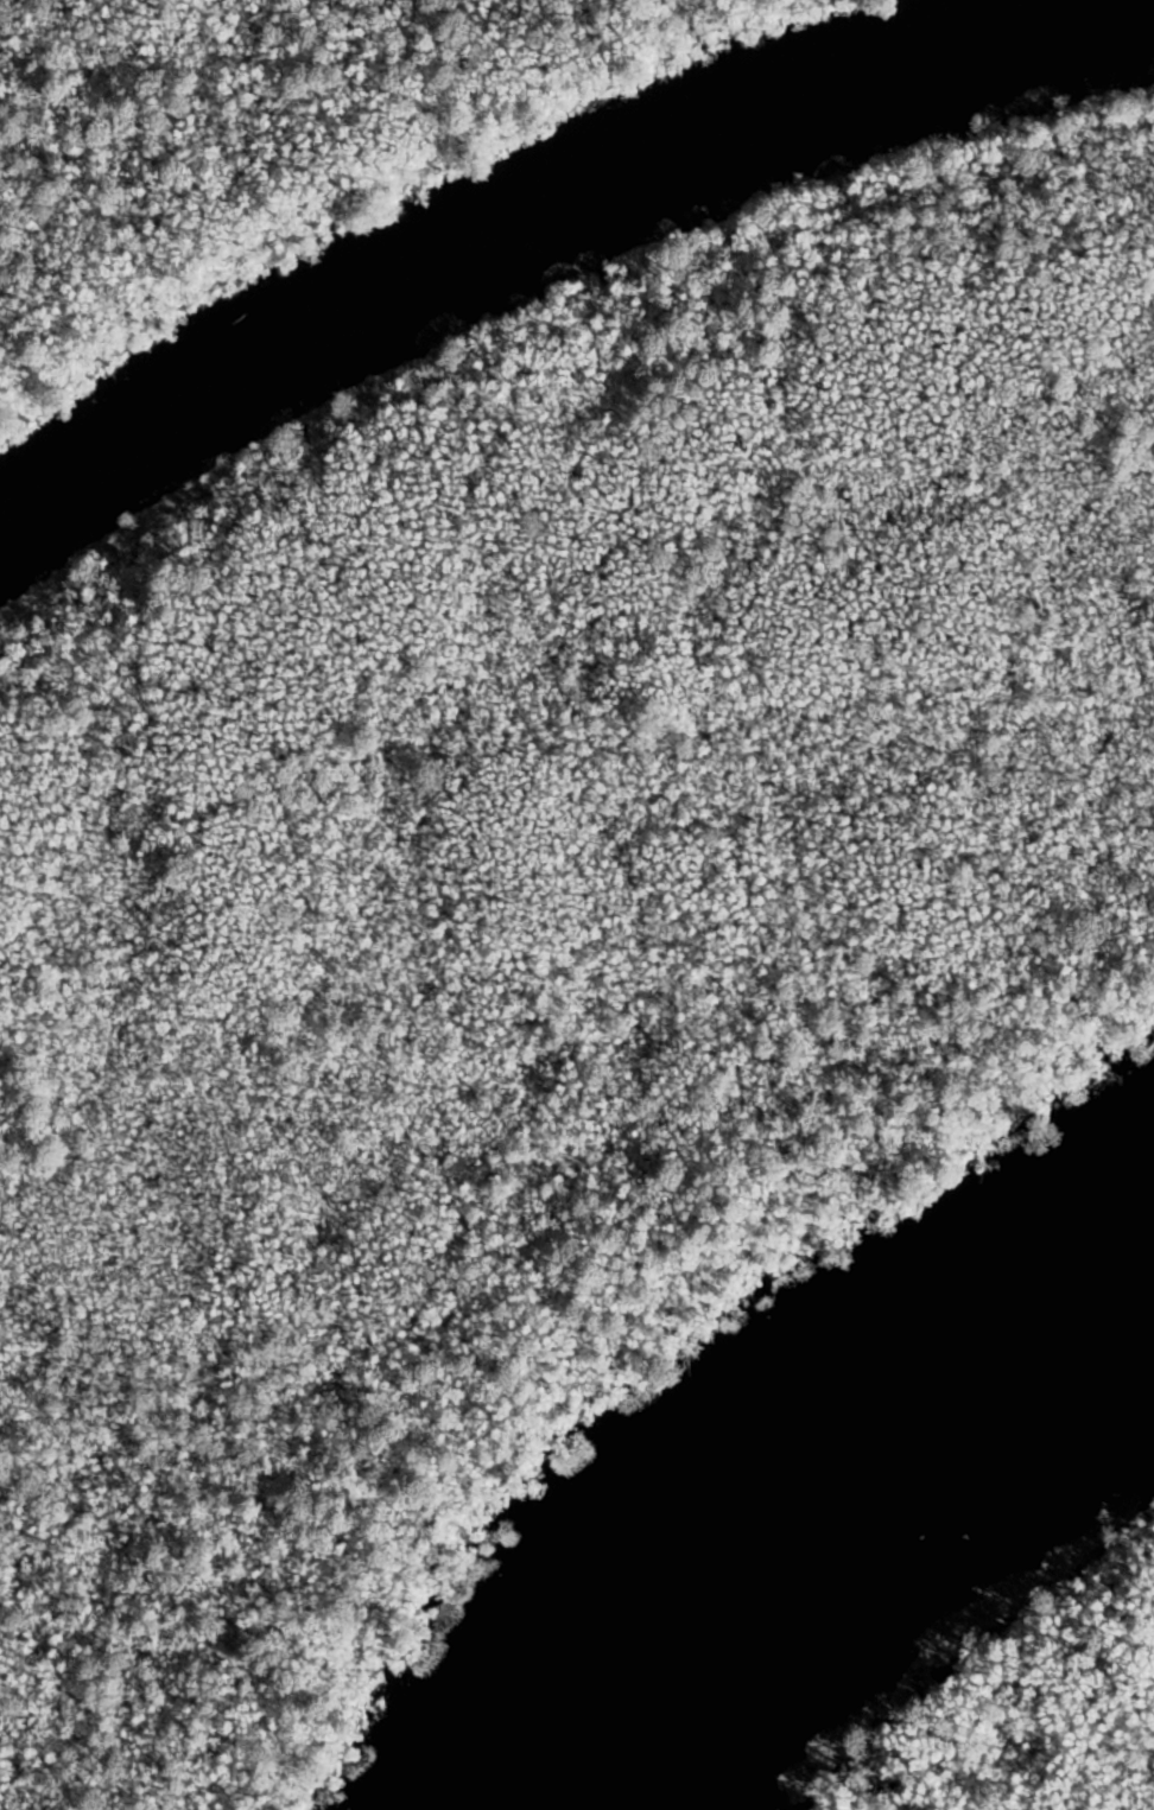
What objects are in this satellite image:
river: (550, 210)
river: (811, 1491)

